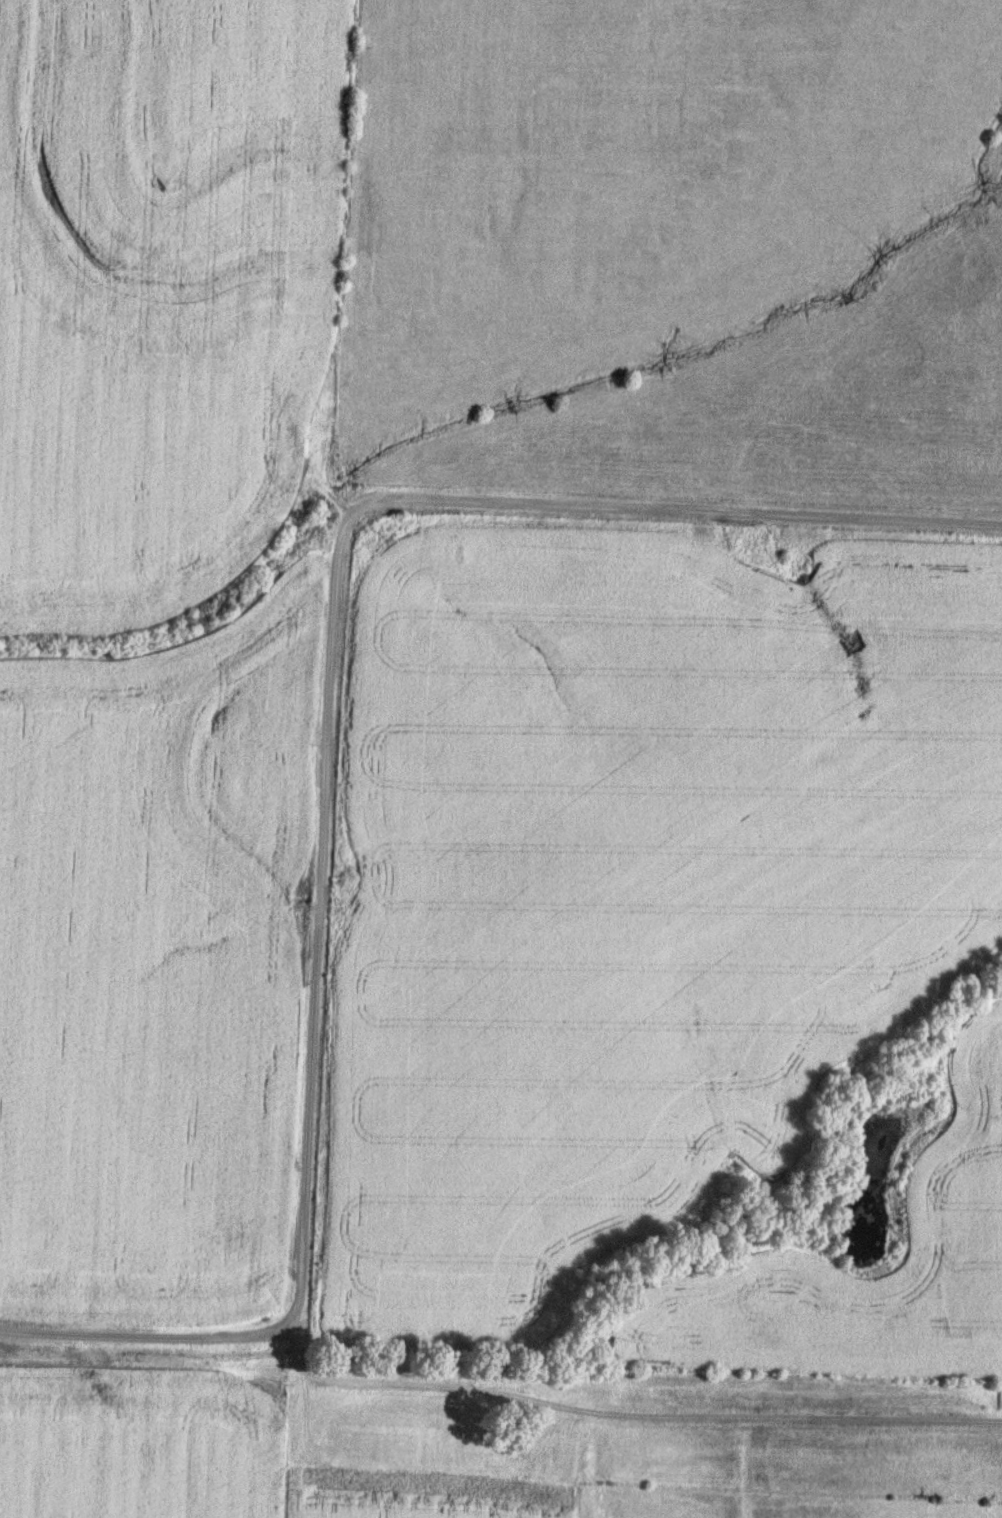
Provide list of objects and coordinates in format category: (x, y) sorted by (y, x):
road: (336, 596)
road: (147, 1333)
road: (632, 1413)

